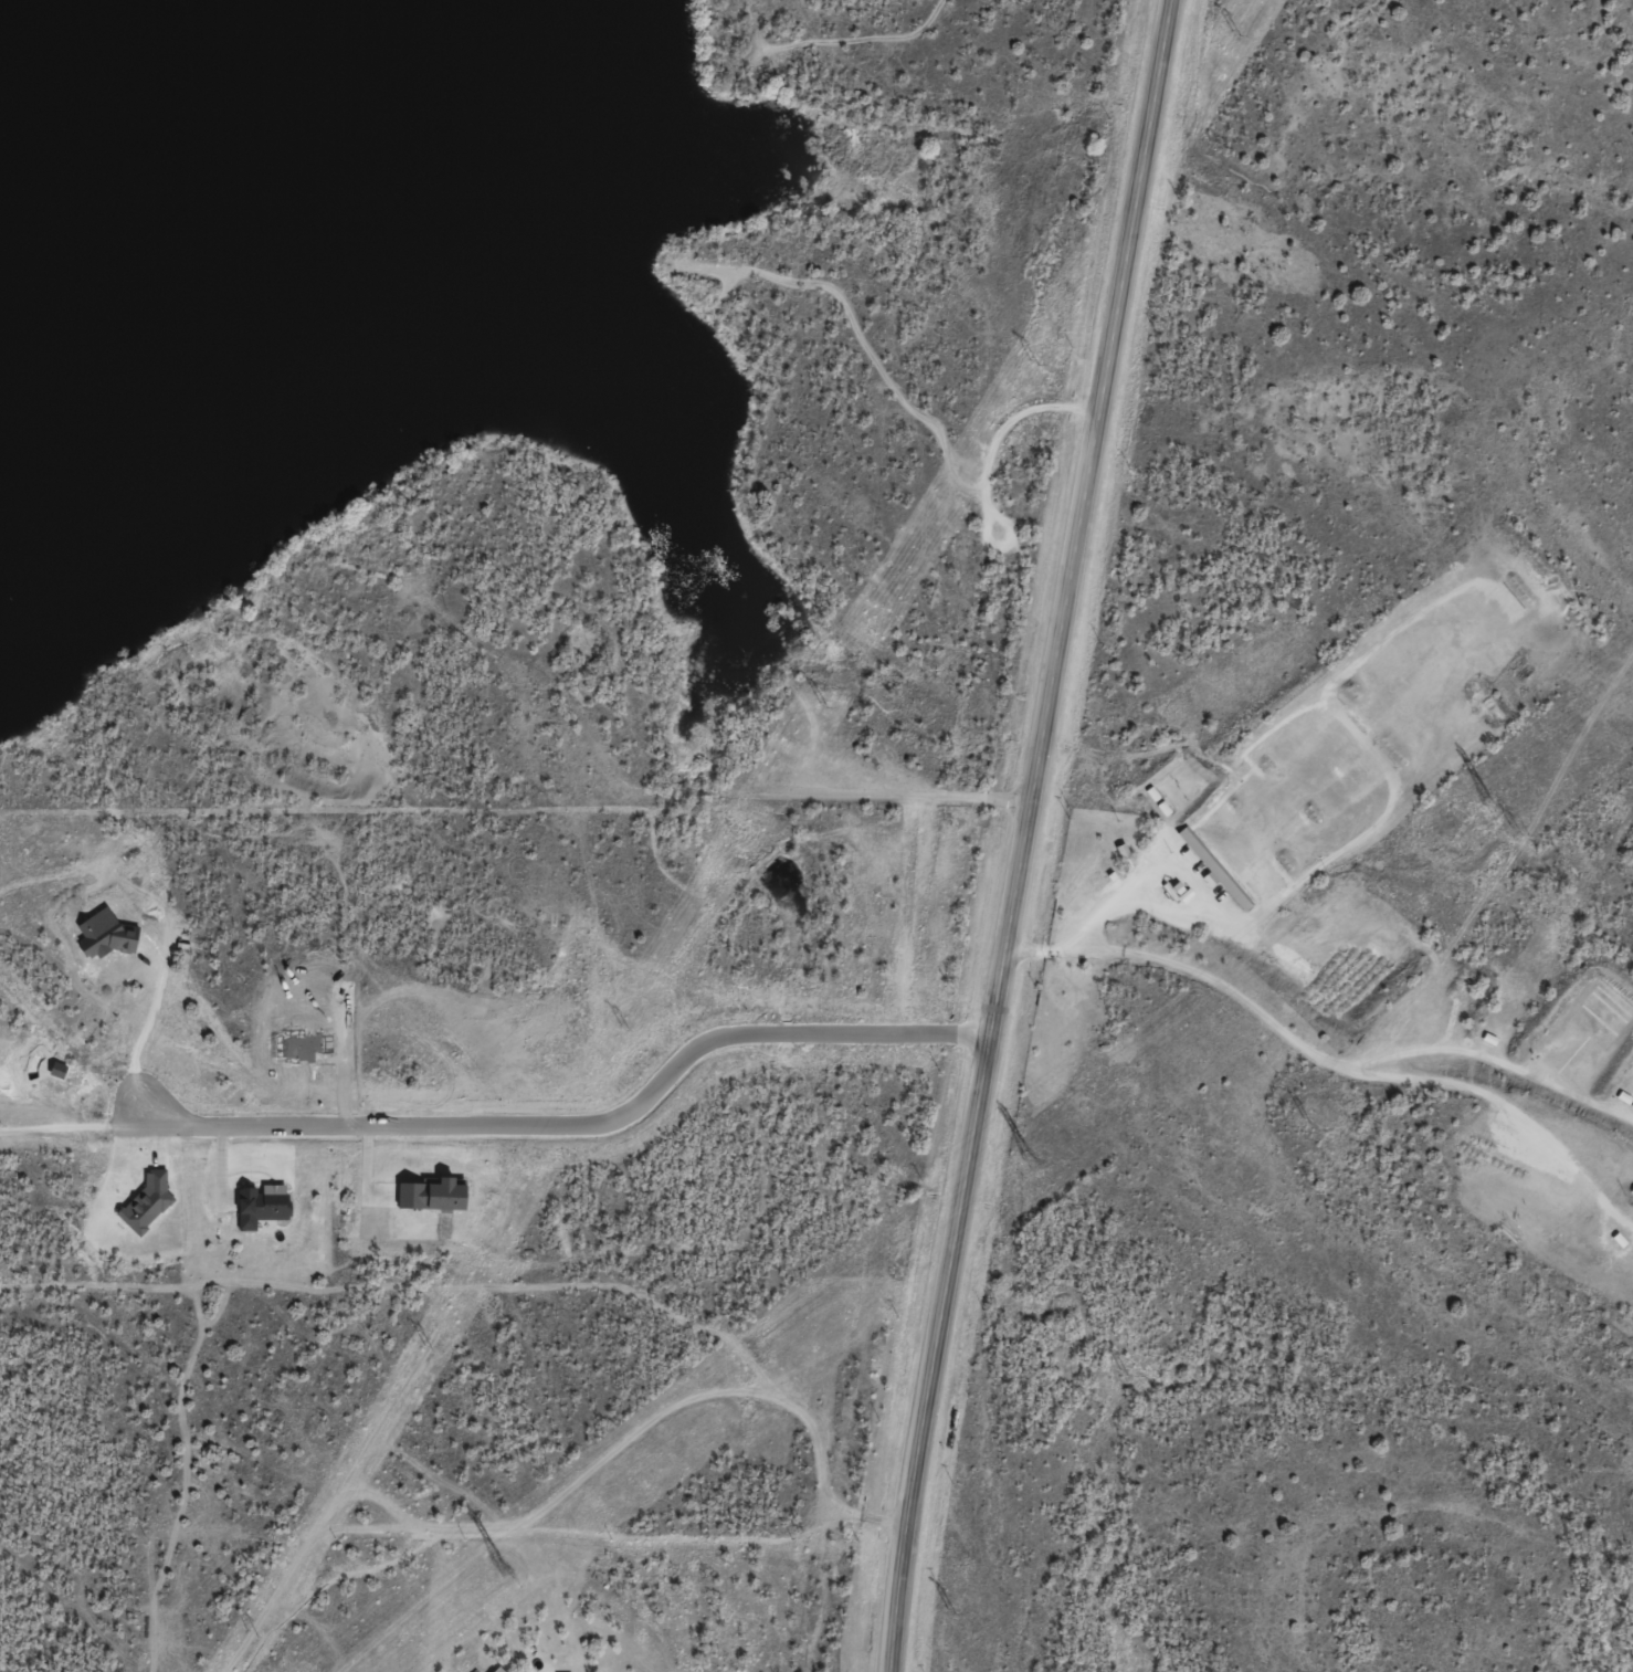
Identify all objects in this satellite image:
power tower: (1233, 32)
power tower: (1031, 361)
power tower: (820, 704)
power tower: (1492, 808)
power tower: (1515, 832)
road: (1022, 834)
road: (1152, 914)
building: (107, 945)
power tower: (621, 1028)
power tower: (1305, 1121)
road: (576, 1127)
power tower: (1029, 1161)
building: (453, 1203)
building: (148, 1212)
building: (261, 1214)
power tower: (426, 1348)
power tower: (1121, 1373)
power tower: (498, 1569)
power tower: (950, 1610)
power tower: (251, 1634)

